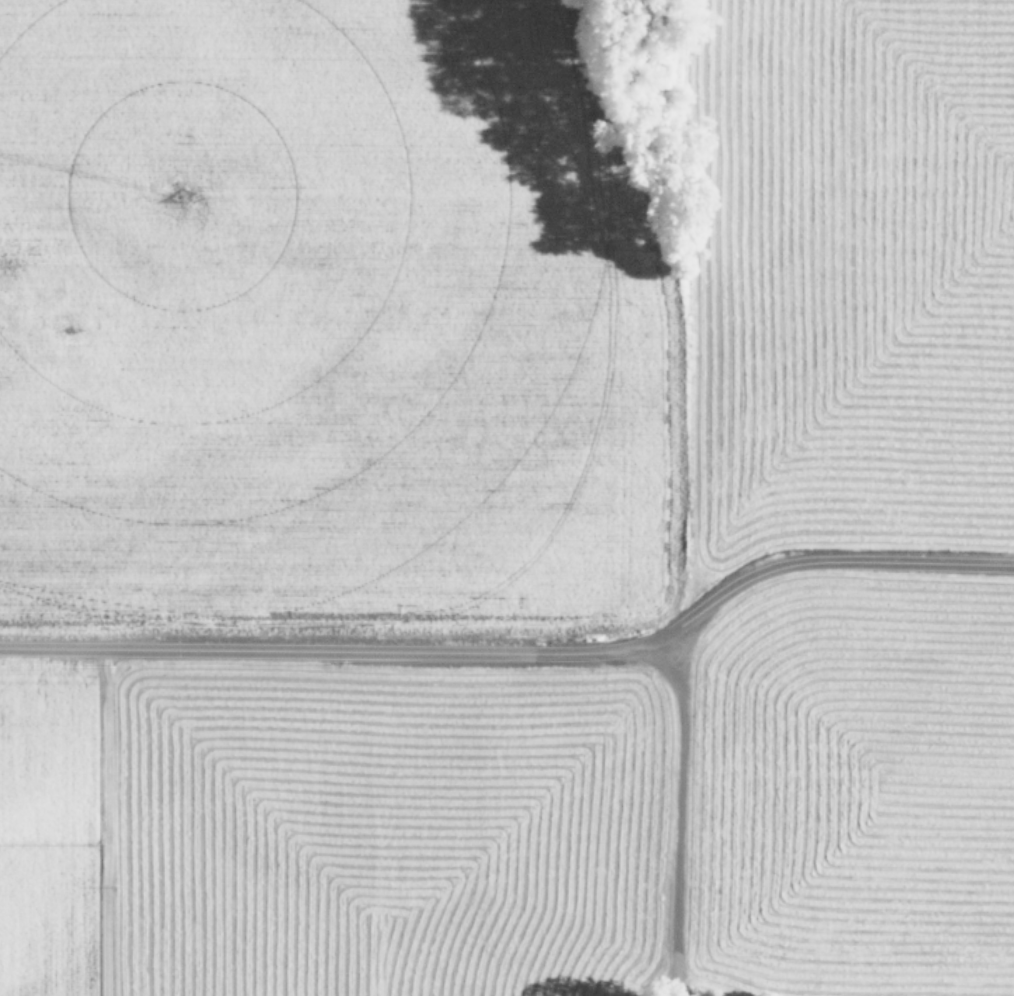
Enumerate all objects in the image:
crop: (507, 498)
road: (518, 652)
road: (678, 814)

